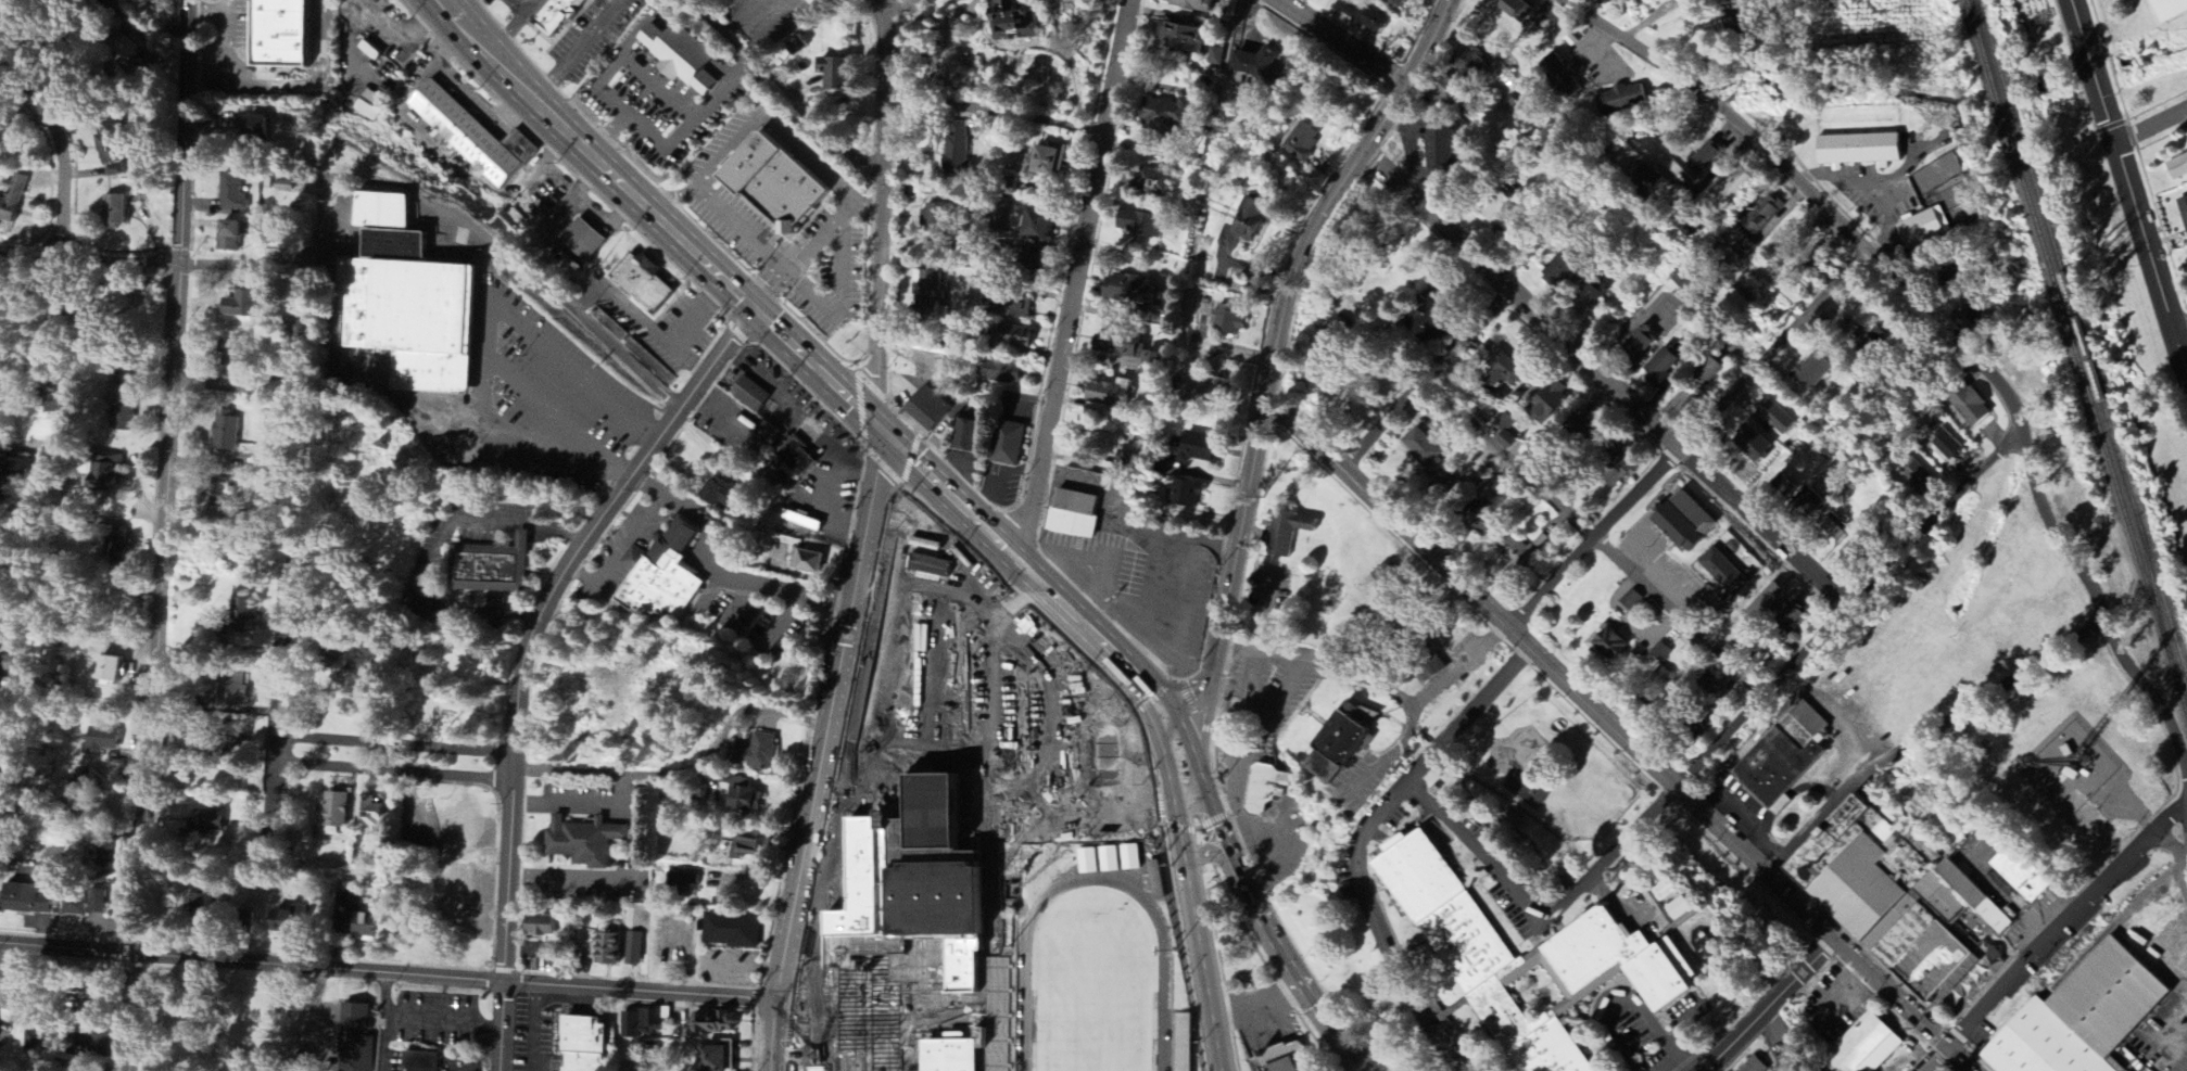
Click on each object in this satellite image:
building: (111, 0)
building: (927, 0)
building: (1058, 0)
building: (1715, 0)
building: (1596, 1)
building: (1394, 2)
road: (228, 5)
building: (1196, 5)
building: (2166, 9)
road: (108, 10)
building: (1512, 10)
road: (207, 11)
building: (558, 15)
building: (1367, 21)
building: (1006, 26)
road: (878, 29)
road: (1319, 29)
building: (288, 34)
building: (1185, 39)
road: (928, 42)
railway: (1982, 44)
building: (796, 47)
road: (1596, 47)
building: (124, 48)
building: (372, 51)
road: (999, 52)
park: (2144, 52)
building: (1216, 56)
building: (685, 59)
road: (1054, 62)
building: (1466, 64)
building: (1256, 66)
building: (844, 75)
building: (1557, 78)
road: (280, 86)
road: (785, 95)
building: (1449, 95)
building: (1619, 100)
railway: (1999, 101)
road: (541, 104)
building: (372, 106)
road: (994, 114)
road: (629, 116)
building: (1170, 117)
road: (776, 126)
road: (2151, 128)
road: (24, 129)
building: (257, 132)
road: (609, 135)
building: (475, 137)
building: (1301, 141)
building: (1439, 150)
building: (1856, 151)
road: (59, 152)
building: (113, 153)
building: (959, 153)
building: (1702, 160)
building: (1052, 162)
building: (2176, 168)
building: (1934, 176)
building: (1648, 180)
building: (1153, 183)
building: (783, 187)
road: (2127, 187)
building: (1733, 188)
road: (433, 190)
road: (1866, 192)
building: (233, 193)
road: (671, 197)
building: (13, 203)
building: (117, 213)
building: (1491, 214)
building: (1760, 215)
building: (2183, 215)
building: (938, 219)
building: (1248, 219)
building: (1143, 225)
building: (1041, 226)
road: (832, 227)
building: (1919, 230)
building: (231, 238)
building: (584, 241)
building: (945, 245)
road: (761, 247)
building: (1742, 248)
road: (87, 263)
building: (1555, 275)
building: (645, 283)
road: (1074, 283)
building: (1133, 290)
building: (930, 291)
building: (404, 297)
building: (1588, 297)
building: (1008, 304)
building: (244, 305)
traffic signals: (755, 314)
road: (1661, 316)
building: (1977, 318)
building: (1230, 321)
building: (1425, 324)
road: (2179, 328)
railway: (2082, 335)
building: (1016, 337)
building: (1635, 345)
building: (1133, 350)
road: (1275, 357)
building: (239, 361)
road: (92, 364)
building: (1659, 366)
building: (1499, 370)
building: (1812, 371)
building: (1006, 372)
building: (1704, 372)
road: (1606, 380)
road: (1427, 382)
road: (1981, 391)
building: (1113, 394)
building: (751, 395)
building: (1546, 403)
building: (126, 405)
building: (1965, 405)
building: (931, 409)
railway: (2095, 412)
building: (1773, 417)
building: (1502, 423)
building: (1578, 426)
building: (228, 431)
traffic signals: (877, 432)
building: (970, 437)
road: (1686, 439)
building: (1748, 444)
building: (1010, 445)
building: (1945, 445)
building: (1204, 446)
building: (1421, 449)
building: (798, 458)
building: (1619, 464)
road: (919, 471)
building: (109, 476)
building: (1917, 476)
building: (1778, 490)
building: (724, 492)
building: (1188, 495)
building: (1802, 507)
building: (1077, 515)
building: (1479, 515)
building: (1680, 523)
building: (1289, 533)
building: (1828, 534)
road: (161, 535)
road: (862, 538)
road: (1595, 539)
building: (116, 546)
road: (622, 547)
road: (437, 553)
building: (1515, 553)
building: (811, 563)
building: (494, 569)
building: (658, 572)
road: (719, 572)
building: (1720, 573)
railway: (2152, 583)
road: (301, 584)
building: (1762, 605)
building: (241, 614)
building: (1786, 623)
building: (1604, 647)
building: (1658, 653)
road: (524, 656)
building: (13, 663)
building: (112, 670)
road: (1785, 674)
building: (1427, 676)
building: (1658, 677)
road: (278, 690)
building: (235, 692)
road: (1619, 736)
building: (106, 740)
road: (1925, 740)
traffic signals: (1181, 743)
building: (1344, 744)
road: (395, 745)
building: (756, 753)
road: (393, 758)
road: (391, 770)
road: (685, 774)
building: (92, 779)
building: (1265, 790)
building: (744, 794)
road: (267, 795)
road: (580, 803)
building: (338, 811)
building: (370, 814)
building: (207, 821)
building: (463, 823)
road: (1356, 840)
building: (589, 841)
building: (749, 845)
road: (1481, 849)
building: (98, 857)
building: (2024, 874)
road: (571, 879)
building: (1159, 881)
building: (680, 883)
building: (458, 888)
building: (1670, 890)
building: (1985, 896)
building: (944, 897)
building: (1886, 897)
building: (1944, 897)
building: (27, 901)
building: (207, 901)
building: (77, 906)
road: (1192, 907)
building: (1682, 908)
road: (1264, 911)
building: (293, 921)
building: (361, 926)
building: (543, 926)
building: (733, 931)
road: (2043, 943)
building: (611, 948)
building: (635, 949)
building: (1533, 961)
building: (934, 964)
road: (387, 973)
flagpole: (1248, 985)
building: (12, 992)
park: (1091, 994)
road: (1625, 999)
road: (1771, 1005)
track: (1021, 1009)
building: (2086, 1017)
road: (317, 1020)
road: (385, 1022)
building: (644, 1022)
building: (716, 1023)
road: (444, 1024)
road: (1680, 1025)
building: (357, 1037)
building: (586, 1044)
building: (40, 1045)
building: (1864, 1046)
building: (958, 1055)
building: (719, 1058)
road: (806, 1058)
building: (1279, 1059)
building: (421, 1062)
road: (845, 1062)
road: (869, 1063)
building: (1757, 1066)
road: (844, 1067)

